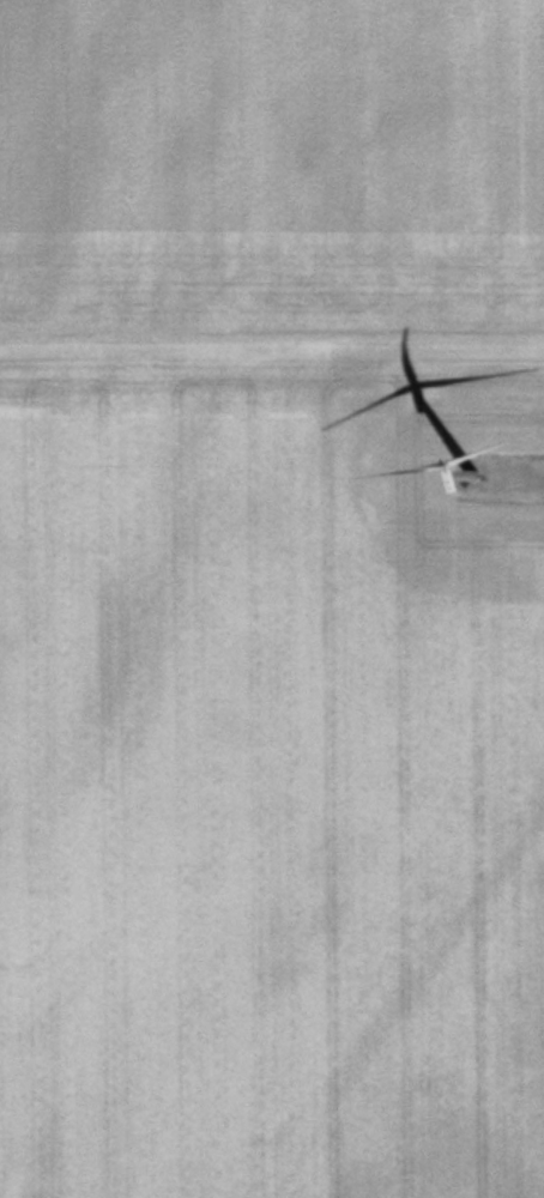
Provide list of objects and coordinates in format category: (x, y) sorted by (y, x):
wind turbine: (465, 495)

